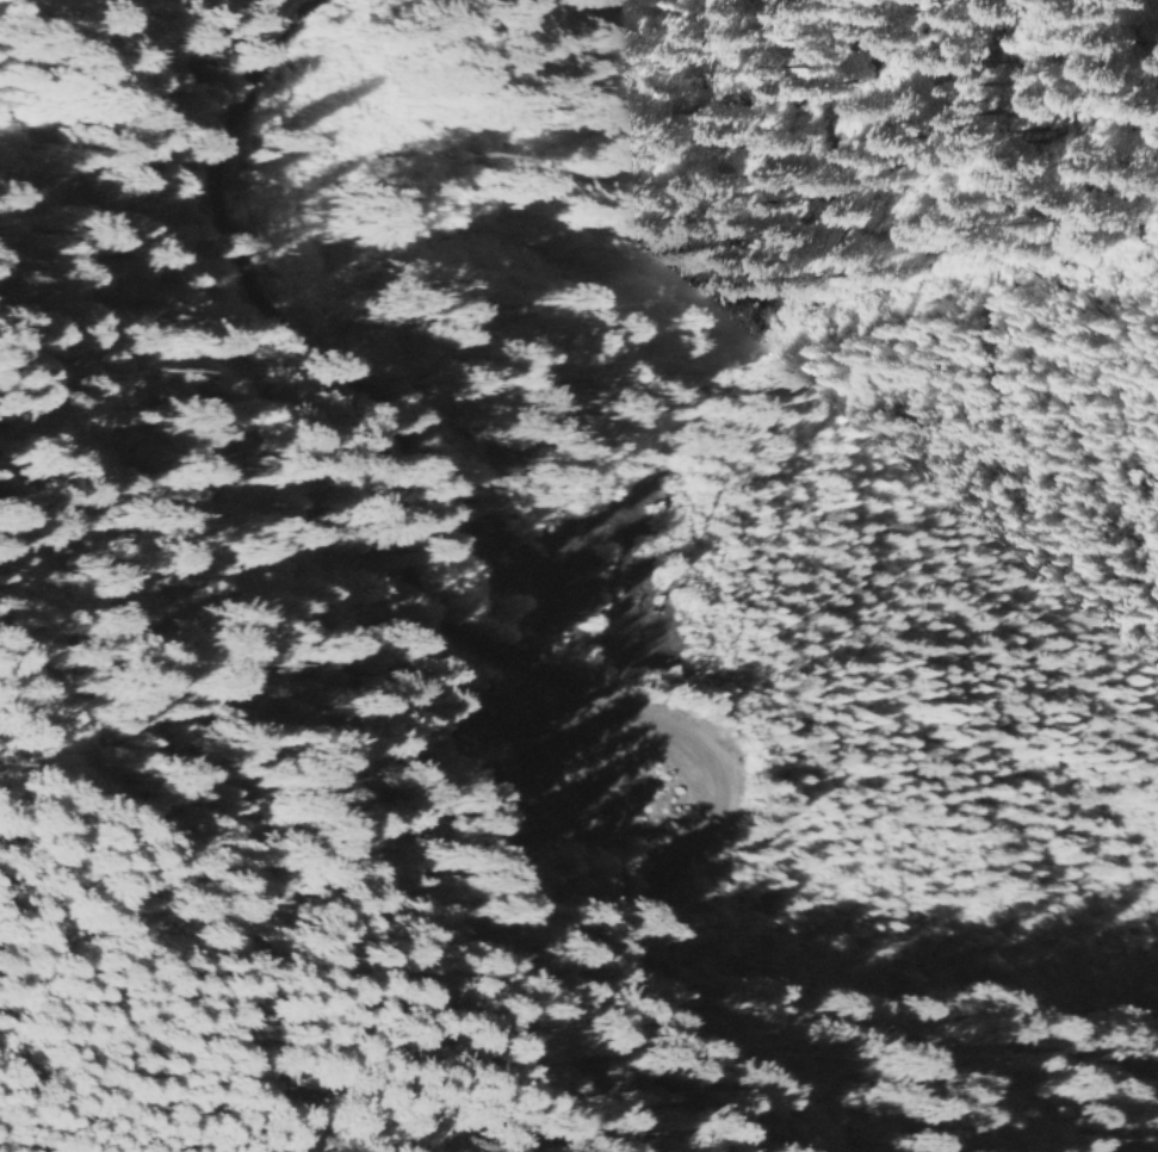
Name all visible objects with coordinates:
road: (450, 638)
road: (142, 1001)

